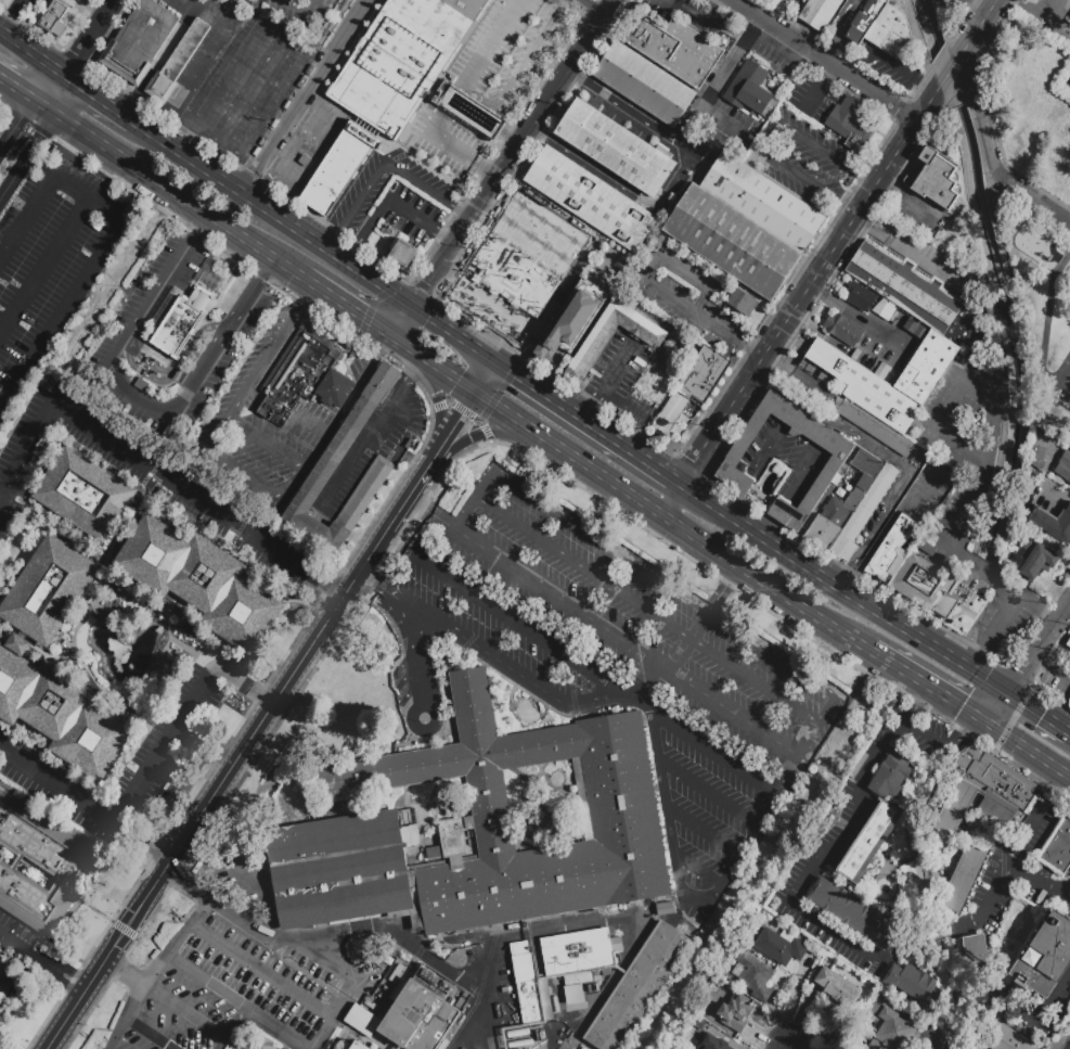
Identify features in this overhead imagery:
building: (5, 3)
road: (25, 3)
road: (988, 3)
building: (468, 5)
road: (592, 7)
building: (846, 7)
parking lot: (305, 11)
building: (820, 13)
road: (302, 14)
road: (14, 20)
building: (56, 21)
building: (881, 28)
building: (420, 31)
road: (977, 35)
building: (139, 42)
road: (581, 49)
building: (676, 50)
road: (31, 52)
road: (78, 53)
road: (796, 60)
road: (827, 61)
building: (176, 62)
road: (199, 62)
road: (521, 69)
road: (902, 72)
road: (947, 80)
road: (254, 82)
building: (644, 85)
building: (379, 87)
building: (748, 89)
road: (21, 92)
road: (137, 92)
road: (815, 93)
road: (302, 97)
road: (99, 99)
road: (456, 99)
building: (843, 115)
building: (689, 119)
road: (16, 124)
road: (684, 135)
road: (768, 137)
building: (864, 137)
building: (615, 150)
road: (28, 155)
road: (827, 155)
road: (993, 155)
road: (315, 158)
building: (304, 161)
road: (36, 164)
road: (383, 166)
building: (337, 169)
road: (809, 182)
building: (936, 182)
road: (622, 187)
road: (175, 192)
road: (83, 194)
building: (590, 199)
building: (761, 202)
road: (480, 203)
building: (1002, 206)
road: (27, 217)
road: (273, 217)
road: (539, 220)
road: (421, 222)
road: (198, 229)
road: (366, 233)
building: (730, 242)
road: (899, 246)
road: (495, 251)
building: (402, 253)
parking lot: (51, 263)
road: (44, 266)
road: (265, 268)
road: (687, 270)
road: (605, 272)
traffic signals: (428, 285)
road: (812, 287)
building: (903, 291)
parking lot: (685, 294)
road: (670, 297)
building: (860, 297)
building: (742, 303)
road: (374, 304)
road: (487, 304)
road: (350, 309)
road: (61, 310)
road: (236, 311)
traffic signals: (361, 317)
road: (856, 318)
traffic signals: (426, 319)
road: (583, 319)
building: (567, 323)
road: (2, 324)
road: (403, 324)
building: (181, 327)
road: (719, 329)
building: (841, 330)
road: (453, 335)
road: (820, 335)
road: (1041, 337)
building: (596, 341)
road: (508, 345)
road: (752, 351)
park: (1055, 353)
road: (435, 366)
road: (147, 367)
road: (619, 367)
building: (926, 367)
road: (550, 370)
building: (296, 372)
traffic signals: (516, 375)
road: (485, 378)
road: (101, 381)
traffic signals: (456, 381)
park: (1063, 381)
road: (171, 383)
road: (427, 385)
building: (693, 385)
building: (865, 388)
building: (331, 392)
road: (495, 398)
road: (622, 404)
road: (443, 405)
road: (593, 405)
road: (464, 412)
road: (461, 417)
traffic signals: (460, 419)
road: (807, 421)
road: (588, 423)
parking lot: (263, 424)
road: (313, 424)
road: (482, 428)
building: (874, 428)
road: (632, 432)
road: (492, 433)
road: (366, 439)
road: (983, 443)
road: (268, 445)
road: (569, 453)
road: (892, 456)
building: (1039, 458)
building: (731, 459)
building: (331, 461)
road: (147, 465)
building: (1065, 465)
road: (245, 481)
road: (417, 481)
parking lot: (929, 485)
building: (1049, 485)
building: (86, 496)
building: (163, 499)
road: (474, 499)
road: (672, 499)
parking lot: (971, 499)
building: (842, 504)
building: (863, 513)
road: (134, 519)
road: (891, 522)
building: (1053, 526)
road: (379, 540)
road: (700, 540)
road: (397, 547)
building: (890, 547)
building: (1036, 559)
road: (568, 562)
building: (1009, 570)
building: (203, 581)
road: (666, 584)
building: (924, 585)
road: (378, 586)
road: (847, 589)
building: (49, 591)
road: (169, 604)
road: (804, 607)
road: (100, 609)
road: (1006, 610)
road: (111, 611)
road: (145, 612)
road: (648, 612)
road: (1068, 612)
road: (88, 615)
road: (519, 627)
road: (603, 628)
road: (169, 629)
building: (126, 636)
road: (691, 639)
building: (1068, 644)
road: (36, 648)
road: (191, 656)
road: (417, 656)
road: (1030, 665)
fountain: (130, 667)
road: (508, 668)
road: (1052, 668)
road: (160, 679)
road: (931, 688)
road: (637, 702)
building: (1069, 703)
road: (916, 704)
building: (59, 711)
road: (1040, 713)
road: (185, 719)
road: (820, 728)
road: (941, 750)
road: (1030, 751)
road: (713, 752)
building: (890, 778)
road: (709, 792)
road: (83, 803)
road: (204, 803)
building: (479, 830)
road: (702, 831)
building: (945, 832)
road: (1024, 836)
road: (963, 839)
building: (869, 842)
building: (1059, 853)
road: (916, 859)
building: (65, 862)
road: (698, 869)
road: (1003, 873)
road: (678, 874)
road: (807, 877)
road: (183, 881)
road: (243, 884)
road: (860, 888)
road: (1065, 891)
building: (667, 911)
building: (852, 912)
road: (241, 916)
building: (698, 924)
building: (685, 929)
road: (505, 936)
road: (943, 936)
building: (781, 946)
building: (361, 950)
road: (436, 959)
building: (1046, 959)
road: (315, 960)
road: (40, 961)
building: (977, 961)
road: (261, 970)
building: (558, 970)
road: (154, 971)
road: (121, 974)
building: (607, 975)
building: (755, 976)
building: (915, 984)
building: (5, 985)
building: (837, 987)
building: (637, 989)
road: (239, 999)
road: (183, 1013)
building: (736, 1013)
road: (335, 1015)
building: (417, 1016)
building: (697, 1023)
building: (890, 1025)
road: (231, 1026)
building: (518, 1034)
road: (145, 1035)
building: (541, 1036)
building: (1004, 1037)
building: (286, 1040)
building: (712, 1042)
building: (521, 1044)
road: (784, 1045)
building: (360, 1047)
building: (676, 1047)
building: (583, 1048)

